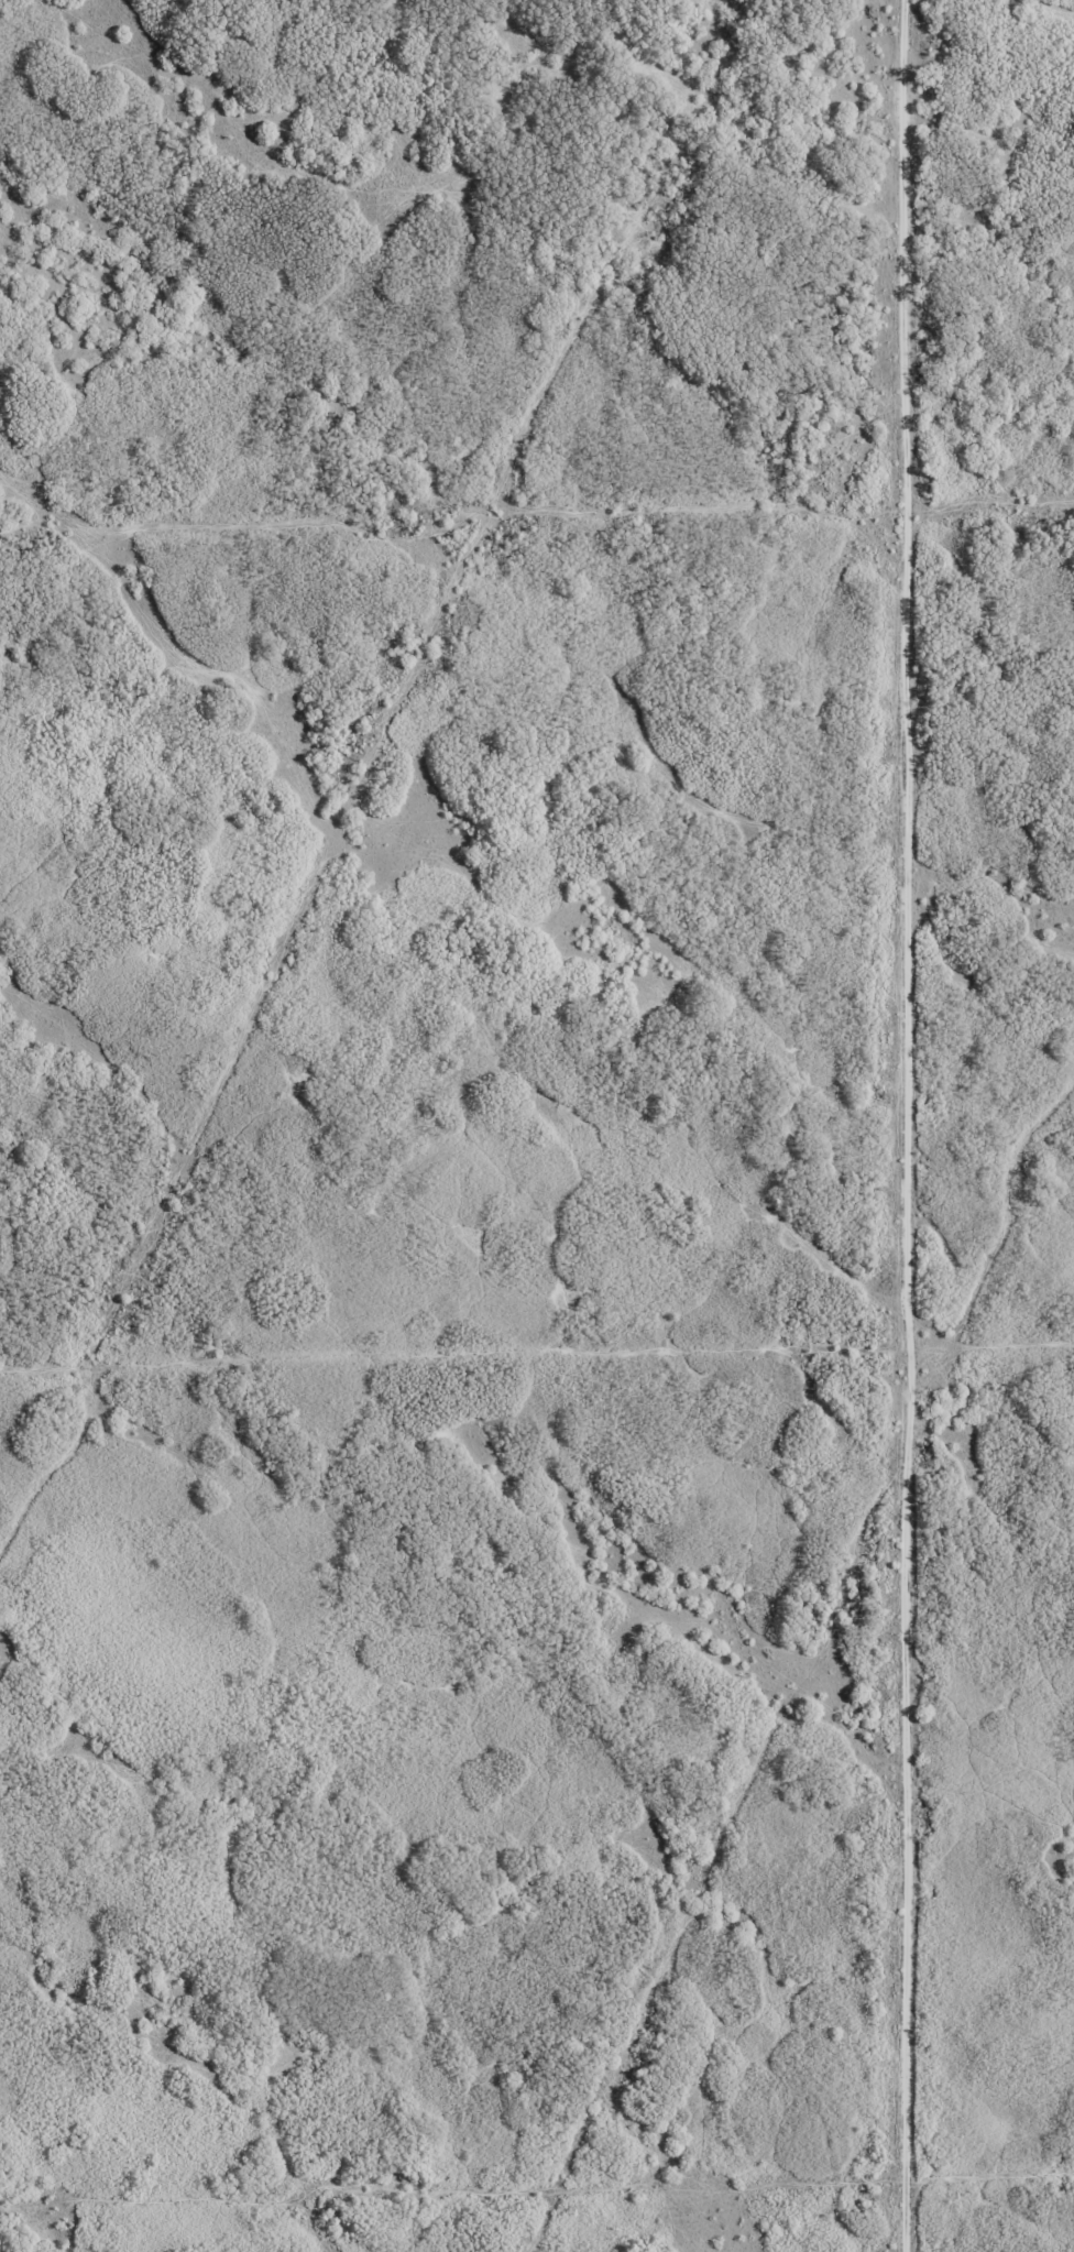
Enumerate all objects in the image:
road: (906, 1125)

